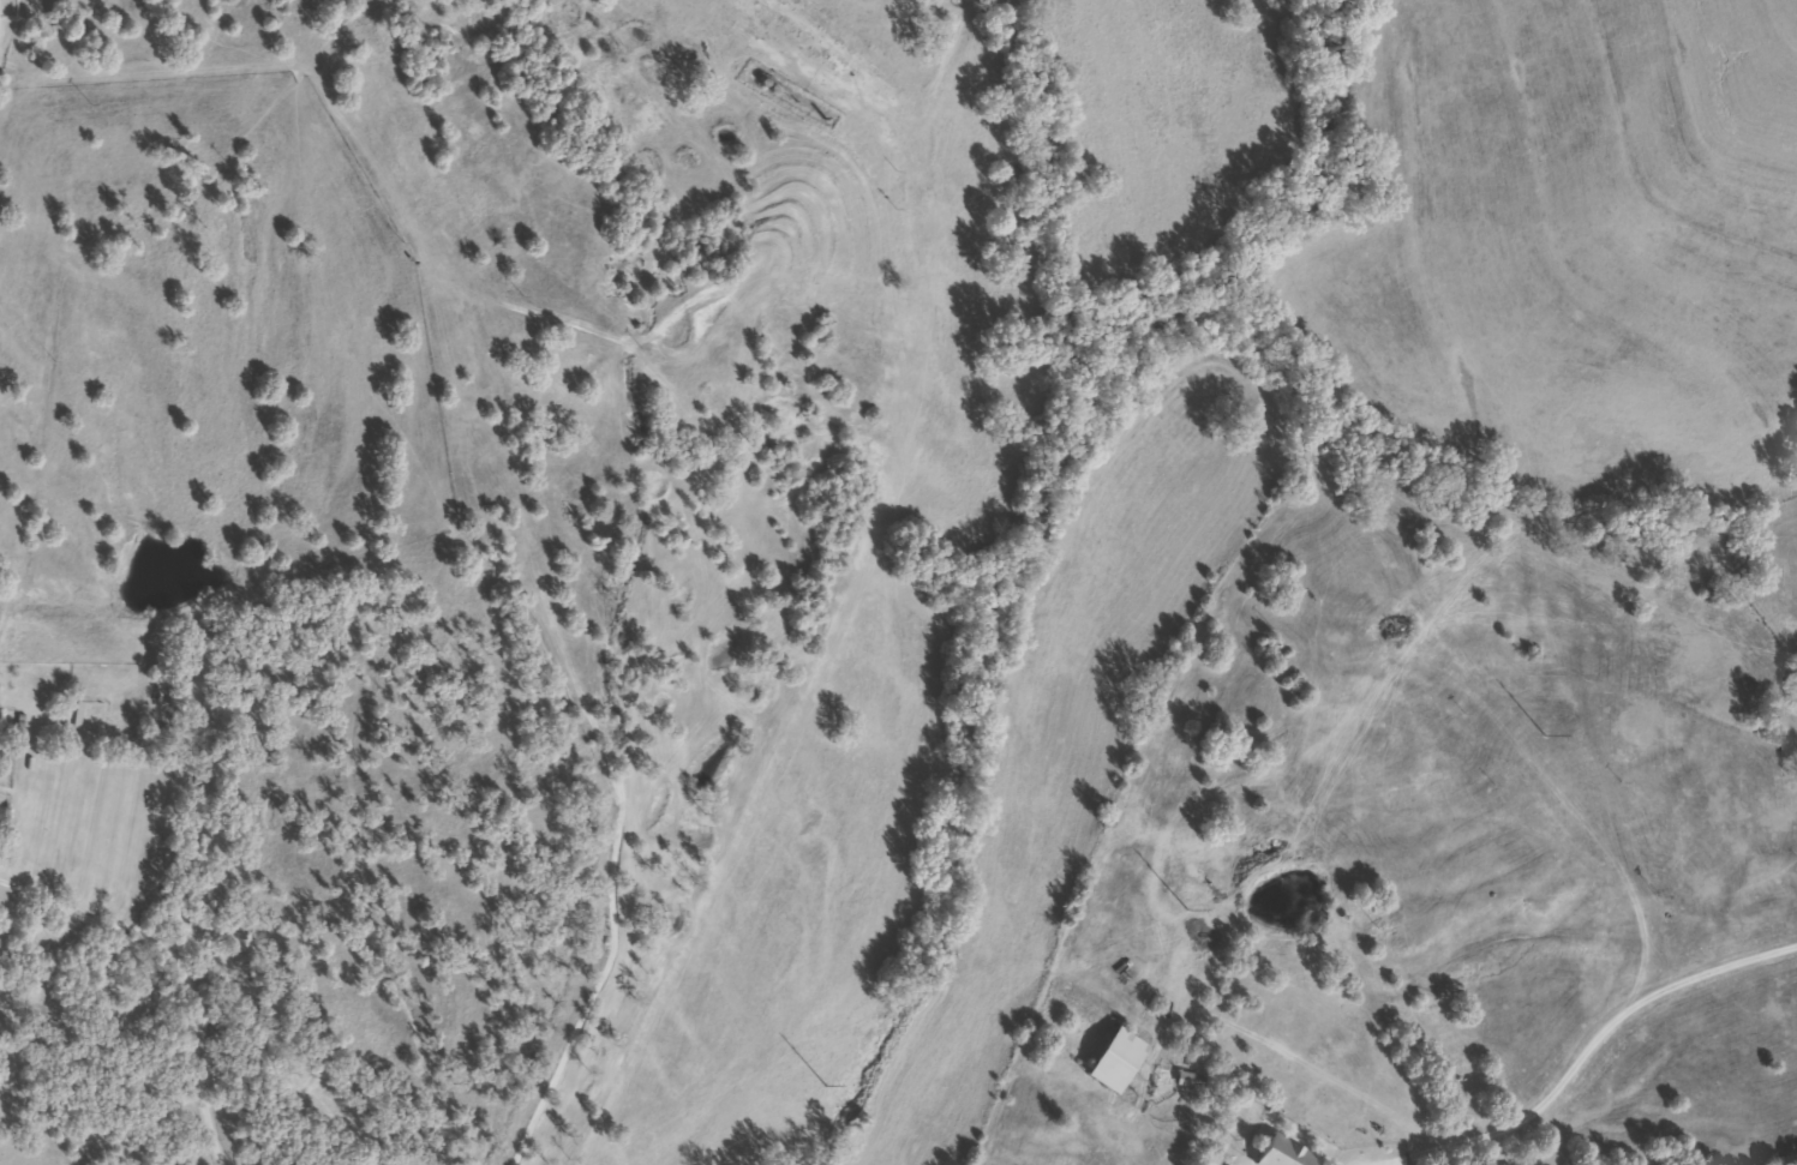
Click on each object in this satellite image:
road: (1, 38)
power tower: (1540, 735)
power tower: (1182, 908)
building: (1110, 1061)
building: (1186, 1080)
power tower: (820, 1083)
building: (1277, 1153)

